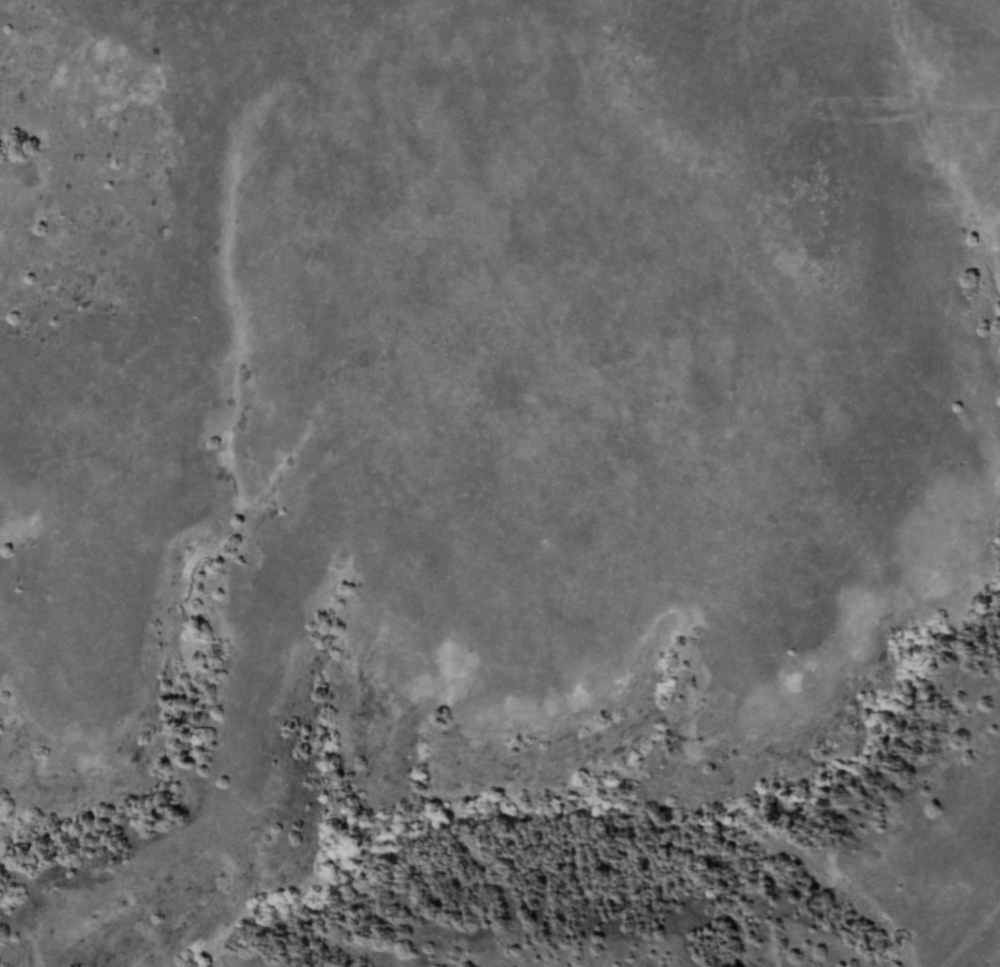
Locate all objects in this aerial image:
road: (969, 18)

